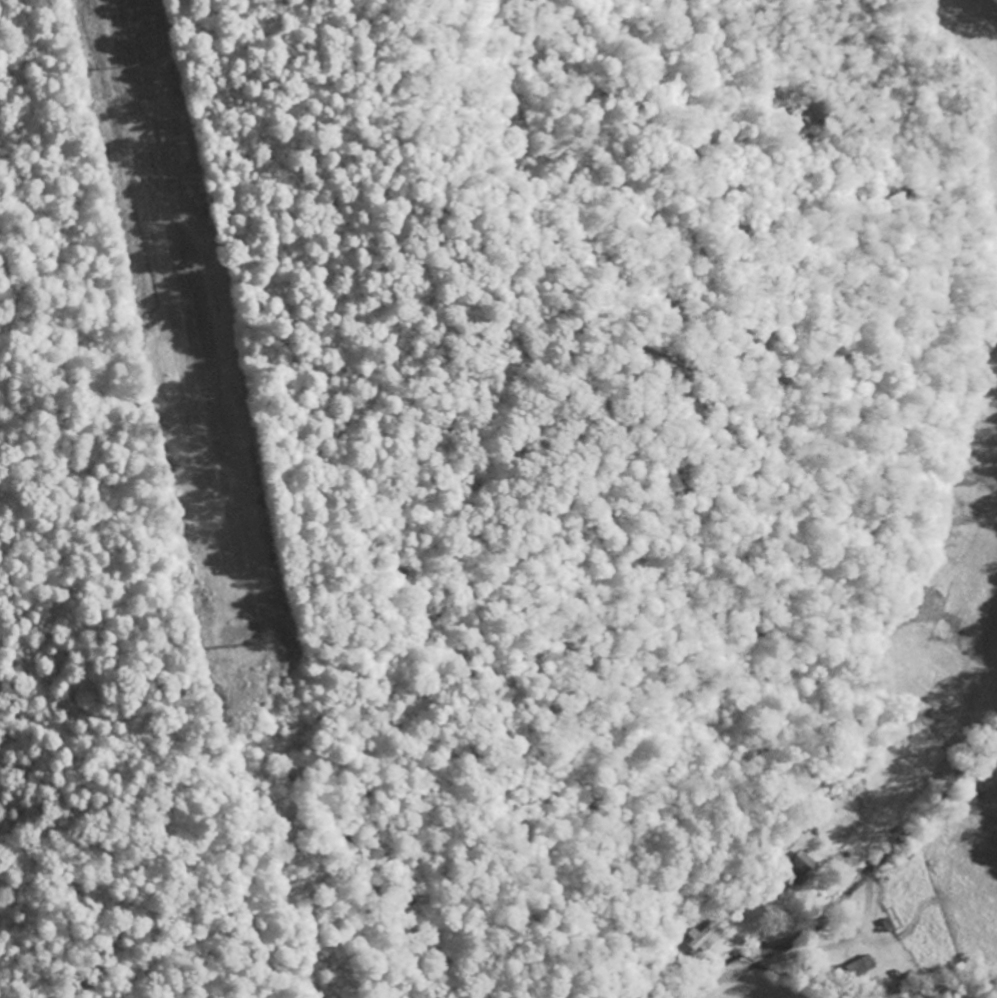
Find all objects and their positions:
road: (760, 961)
building: (856, 965)

